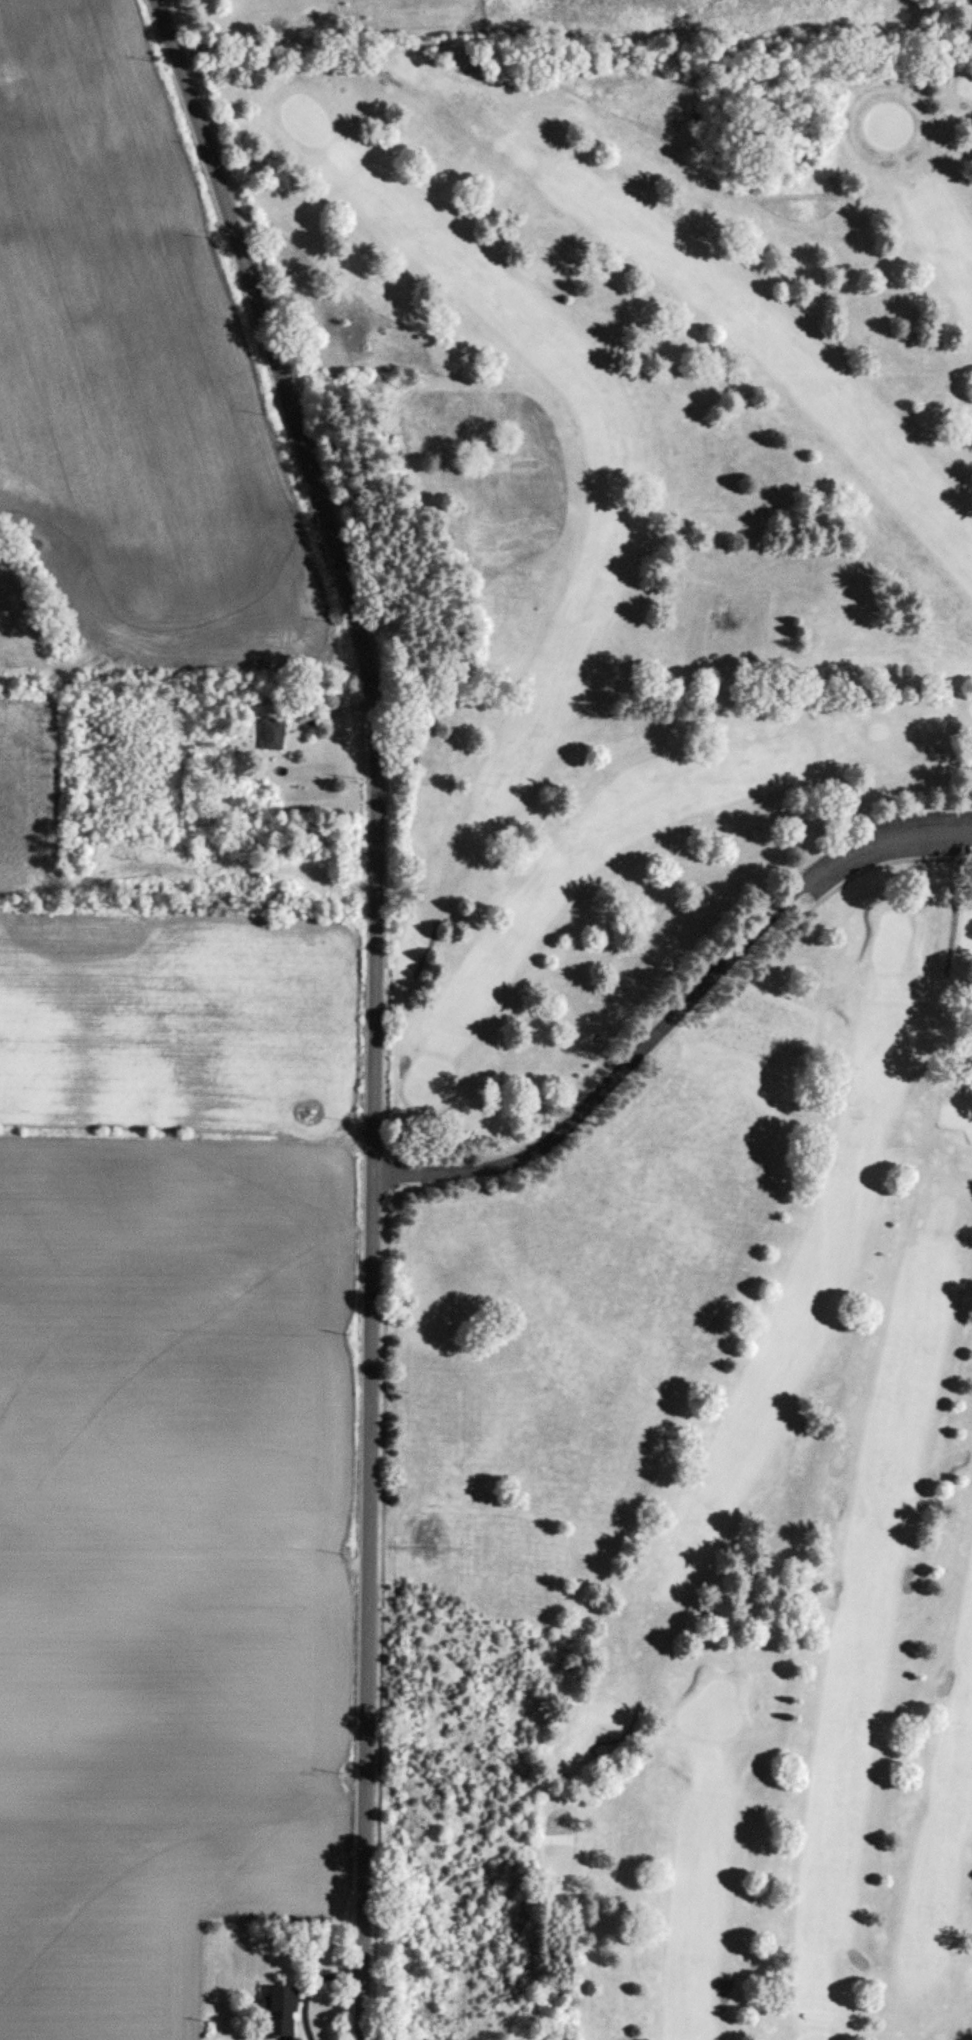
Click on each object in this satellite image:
building: (271, 734)
park: (699, 982)
road: (373, 1002)
road: (676, 1014)
building: (309, 1113)
building: (279, 2013)

